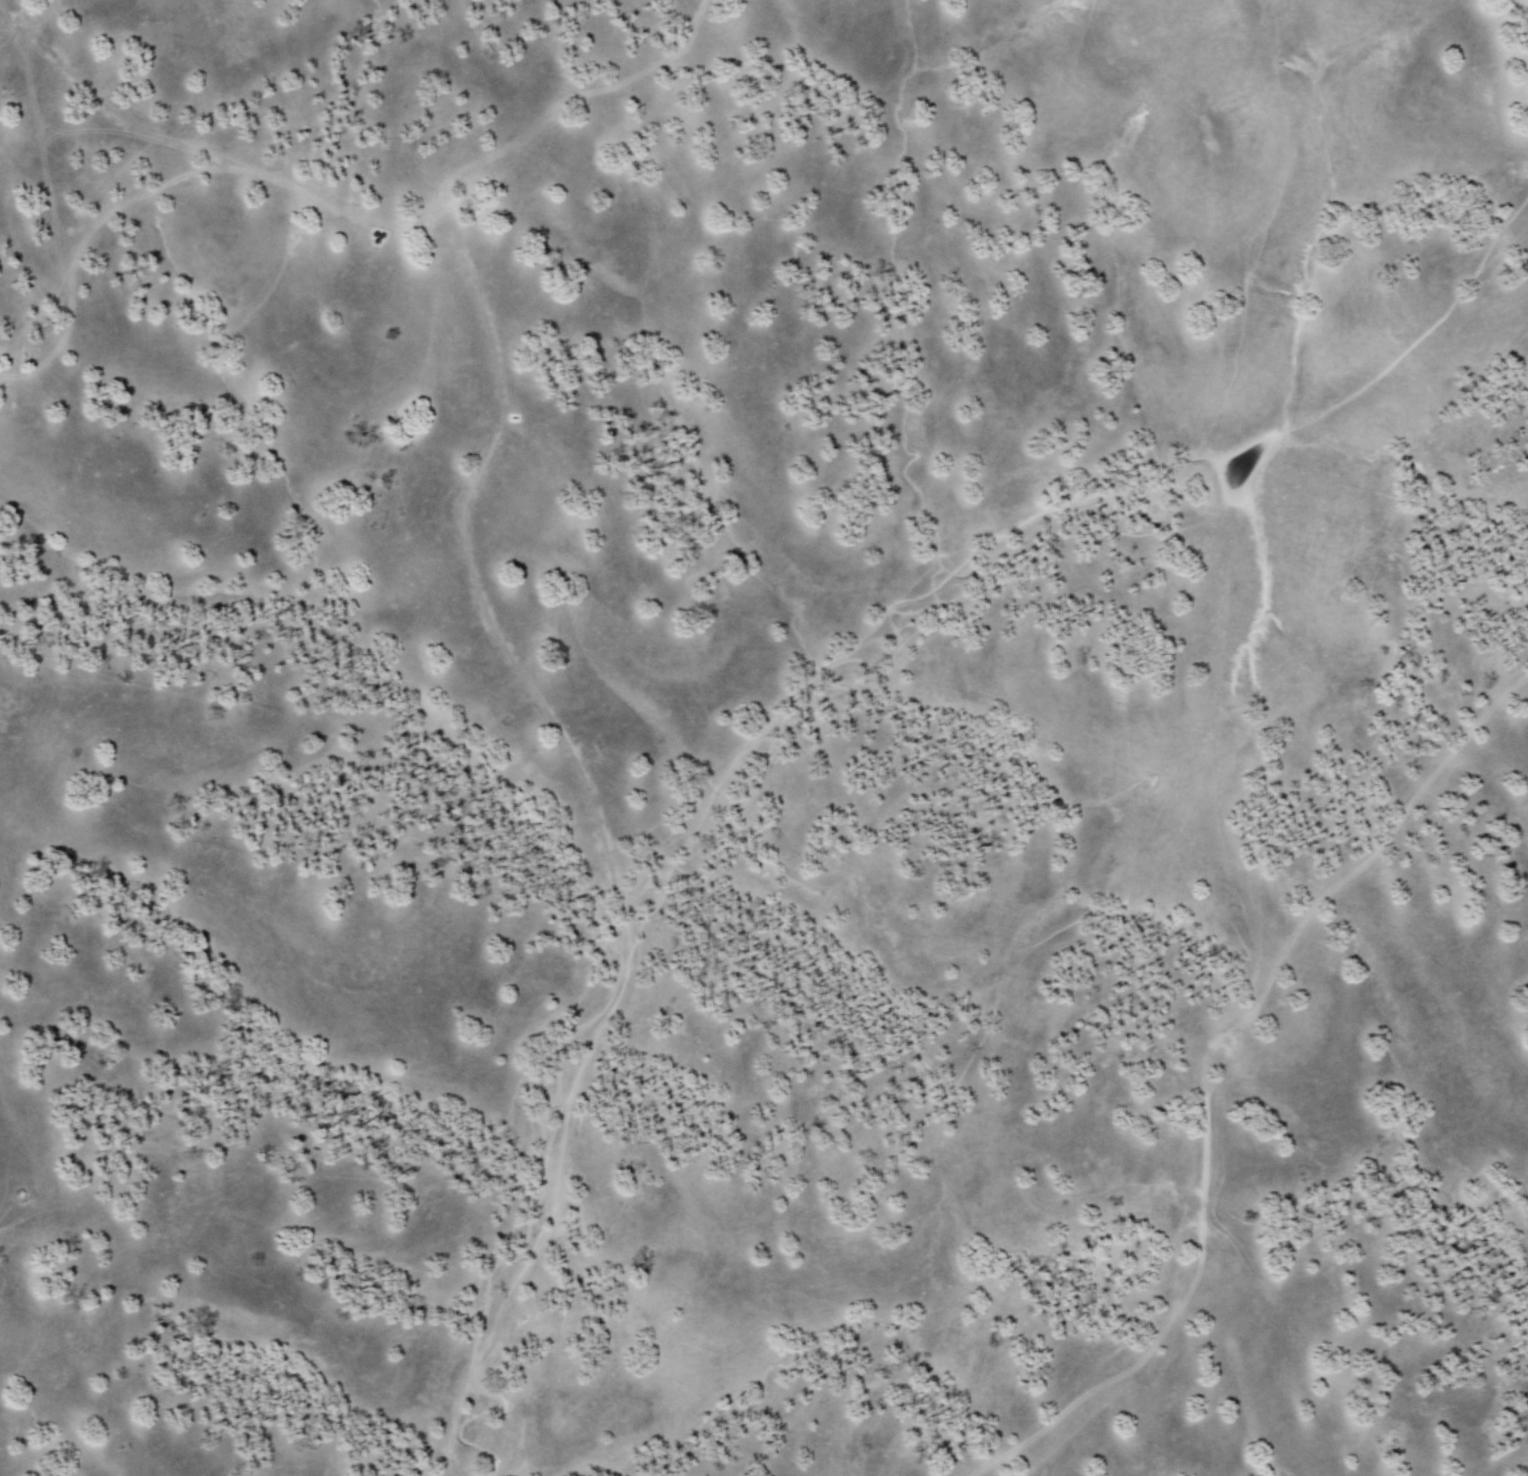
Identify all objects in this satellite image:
road: (1200, 1064)

